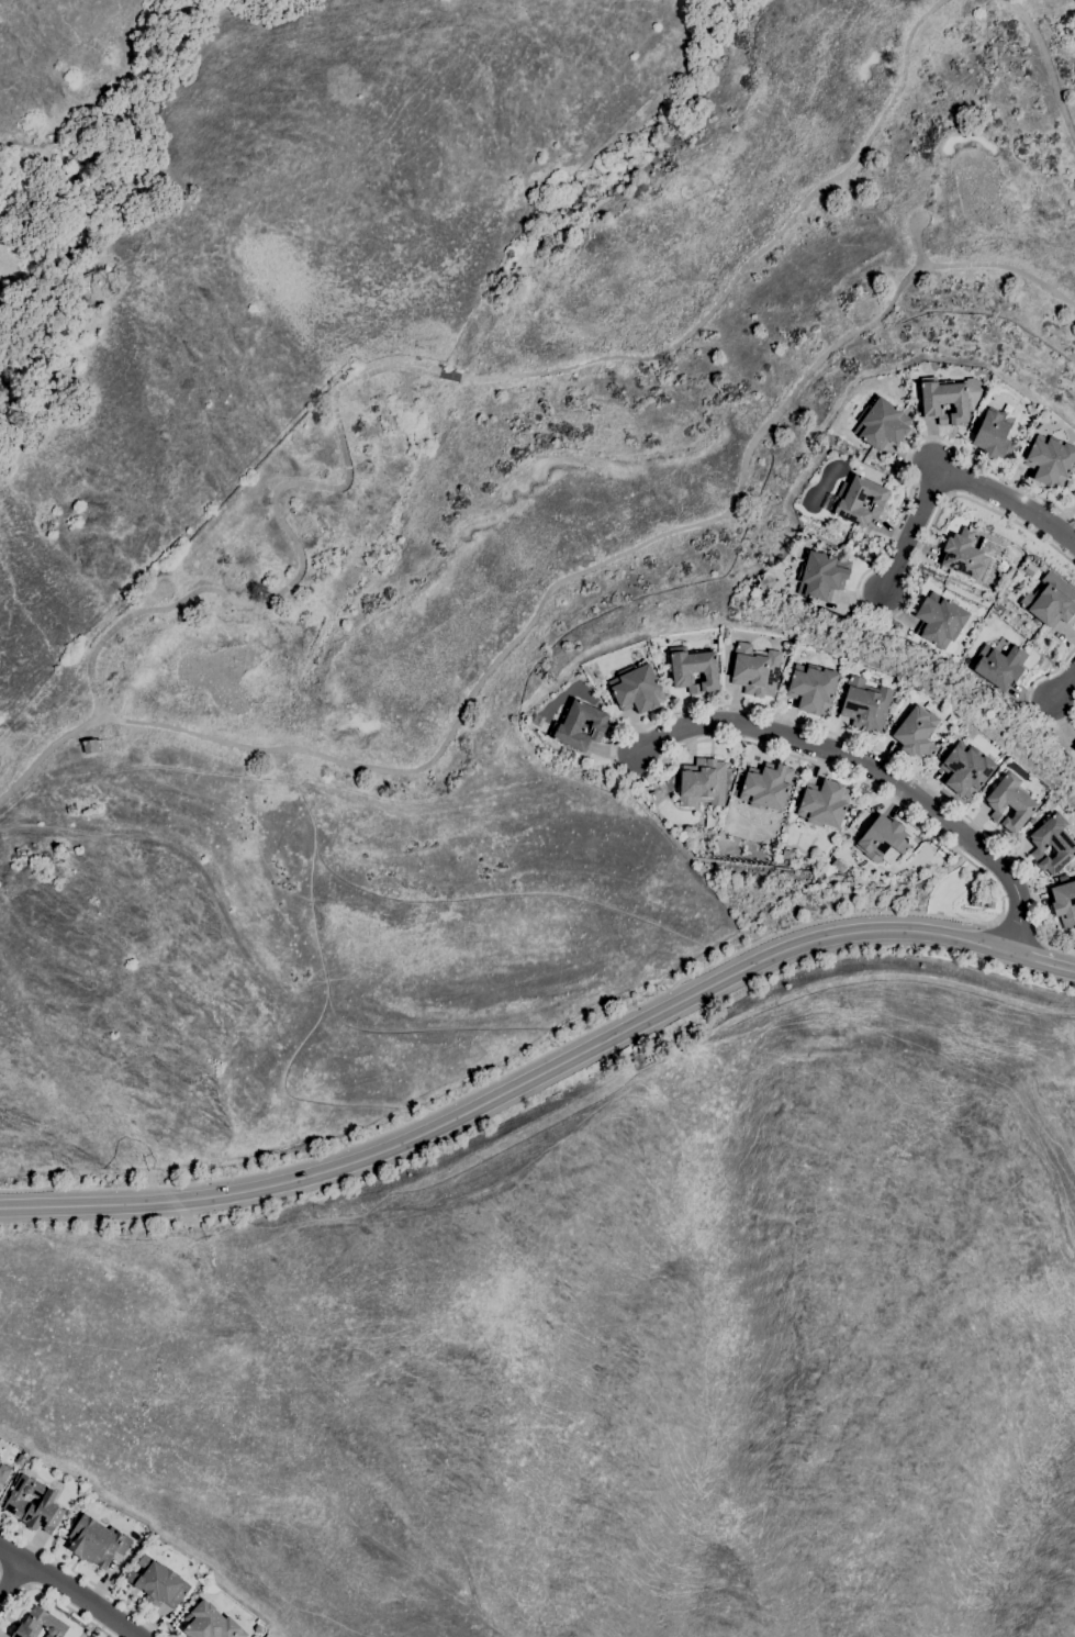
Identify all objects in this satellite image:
road: (1049, 66)
road: (748, 259)
park: (589, 361)
road: (449, 375)
building: (942, 401)
building: (1030, 410)
building: (1043, 414)
building: (881, 423)
building: (994, 434)
building: (1049, 460)
building: (1073, 492)
building: (855, 501)
road: (1010, 501)
road: (909, 532)
road: (295, 545)
building: (967, 554)
building: (820, 575)
road: (858, 580)
building: (765, 582)
road: (550, 587)
building: (1050, 601)
building: (939, 620)
building: (657, 654)
building: (998, 666)
building: (693, 669)
building: (754, 670)
road: (1062, 684)
building: (811, 688)
building: (636, 689)
road: (1027, 695)
building: (864, 704)
building: (579, 726)
building: (1074, 730)
building: (916, 732)
building: (90, 745)
building: (1074, 746)
building: (965, 769)
road: (874, 770)
building: (702, 782)
building: (766, 786)
building: (1009, 802)
building: (824, 803)
building: (1032, 820)
building: (882, 838)
building: (1052, 844)
building: (976, 903)
building: (1064, 903)
building: (989, 904)
road: (1000, 905)
road: (1043, 961)
road: (513, 1087)
building: (0, 1450)
building: (20, 1460)
building: (3, 1473)
building: (33, 1504)
building: (96, 1541)
road: (82, 1579)
road: (12, 1580)
building: (158, 1583)
road: (70, 1589)
road: (47, 1596)
building: (210, 1623)
building: (40, 1624)

